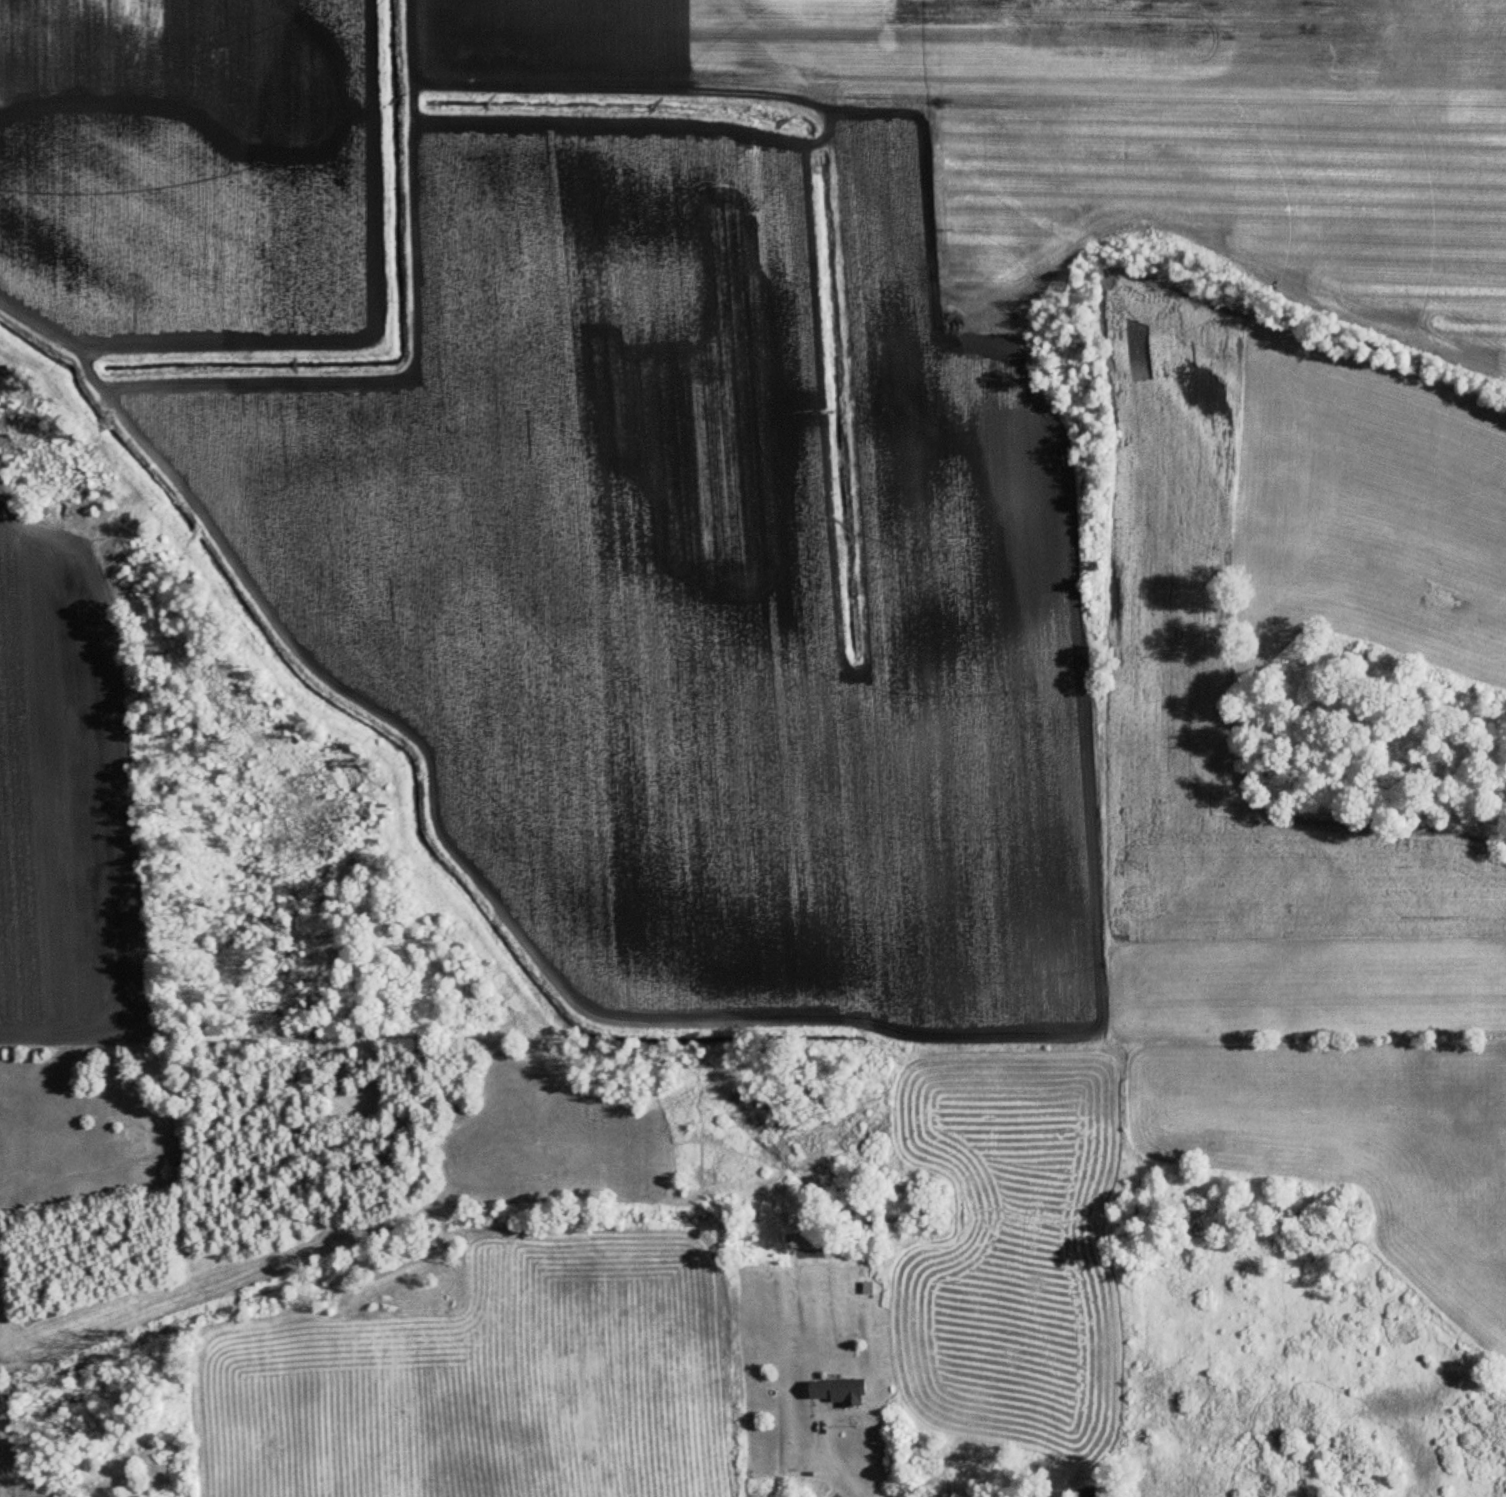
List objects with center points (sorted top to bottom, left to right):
building: (839, 1392)
road: (829, 1457)

